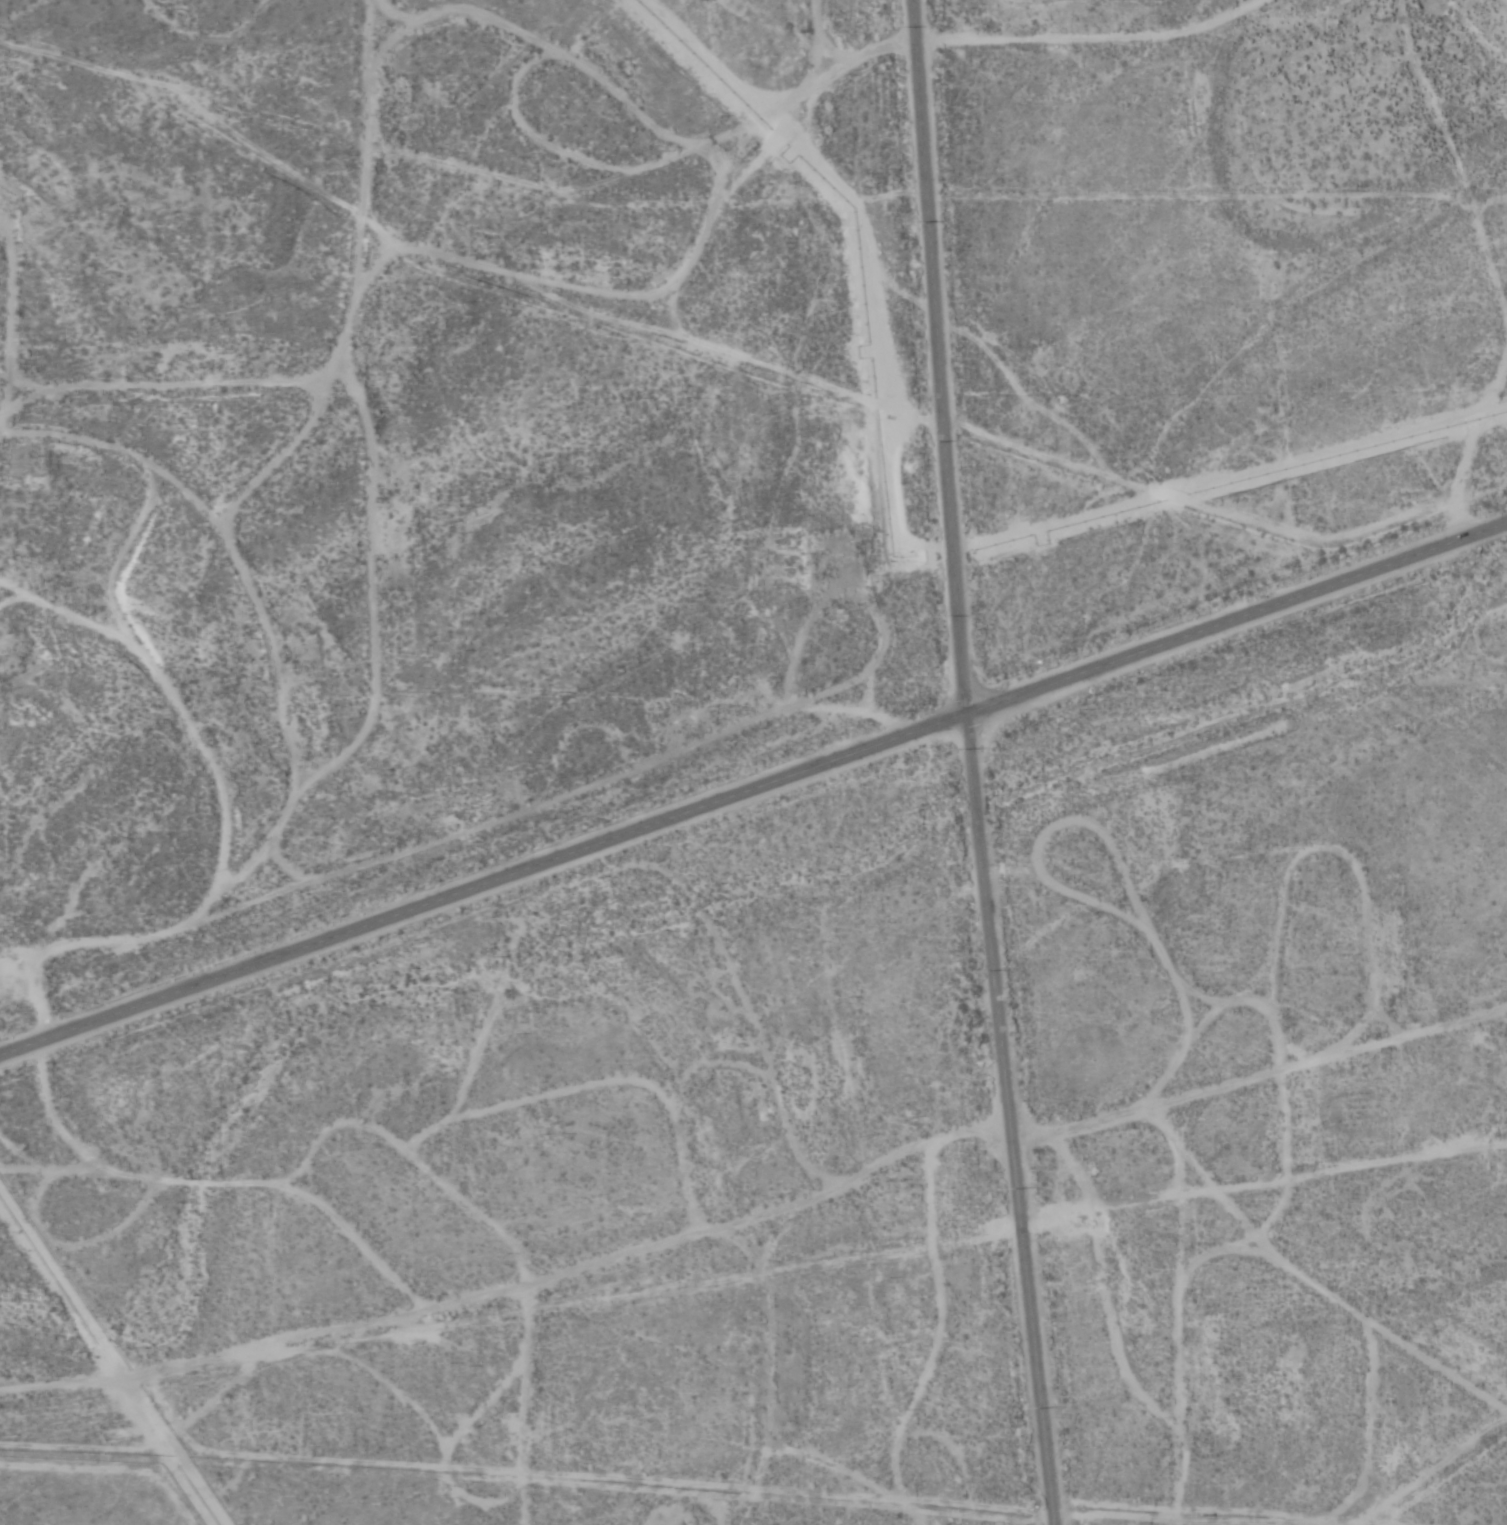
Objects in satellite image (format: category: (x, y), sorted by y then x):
road: (972, 763)
road: (750, 790)

